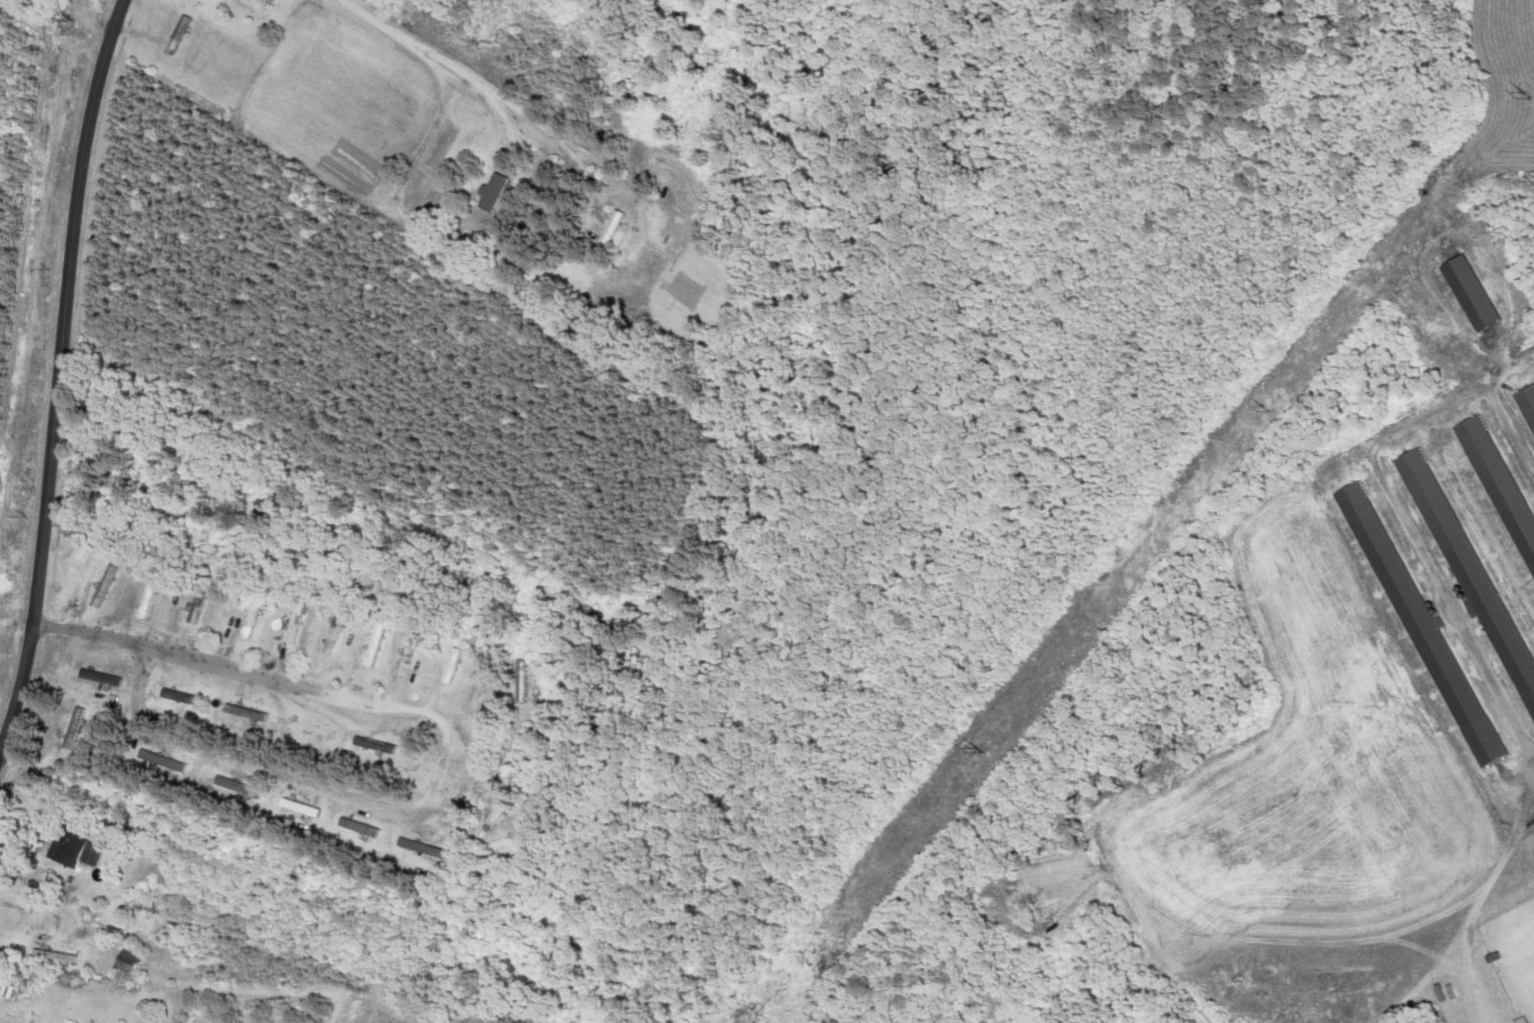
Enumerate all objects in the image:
building: (175, 35)
power tower: (1526, 96)
building: (488, 191)
building: (609, 228)
building: (1466, 294)
road: (60, 374)
power tower: (1260, 400)
building: (1466, 568)
building: (101, 586)
building: (145, 599)
building: (249, 618)
building: (293, 619)
road: (82, 630)
building: (332, 631)
building: (410, 648)
building: (451, 666)
building: (97, 677)
building: (515, 680)
building: (178, 696)
building: (243, 712)
building: (72, 728)
building: (373, 745)
power tower: (978, 748)
road: (232, 758)
building: (161, 760)
building: (237, 786)
building: (489, 817)
building: (358, 828)
building: (419, 848)
building: (70, 849)
building: (126, 955)

